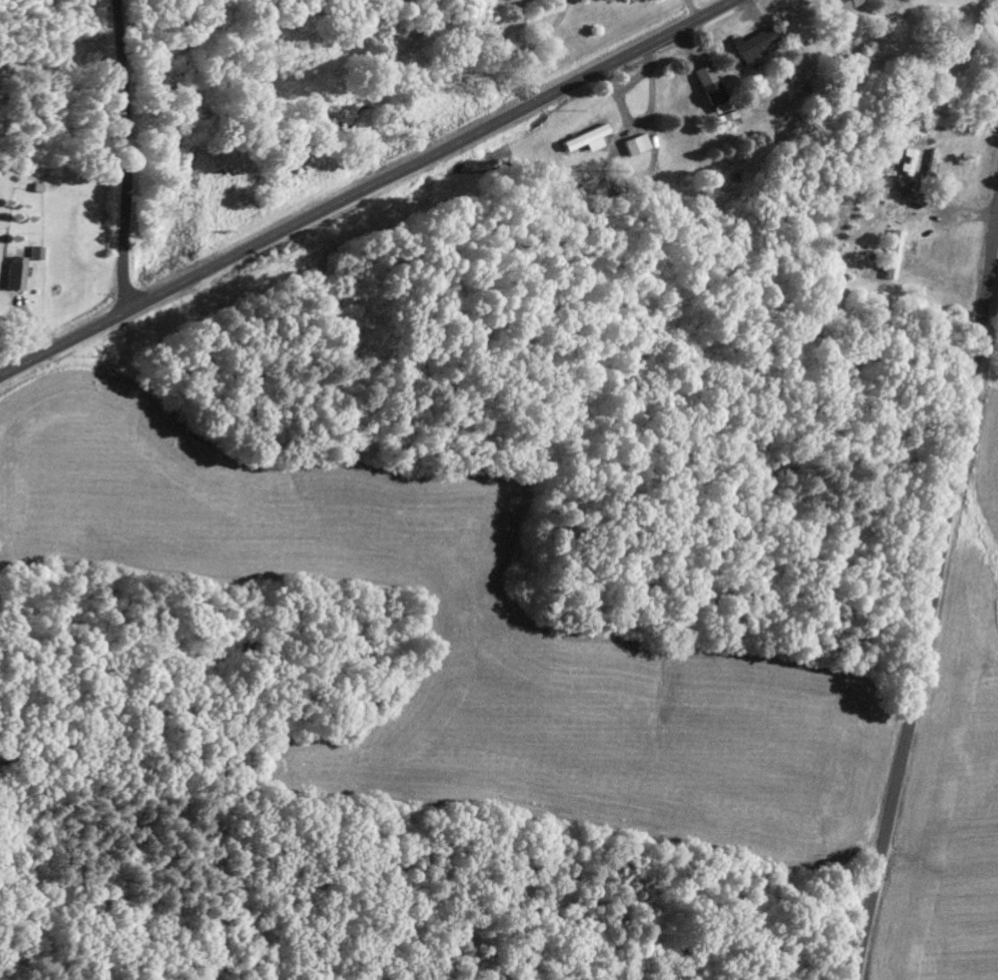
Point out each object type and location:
building: (841, 5)
building: (754, 46)
building: (710, 90)
building: (636, 145)
road: (126, 155)
building: (934, 163)
building: (879, 184)
road: (368, 188)
building: (893, 255)
building: (14, 274)
road: (930, 595)

